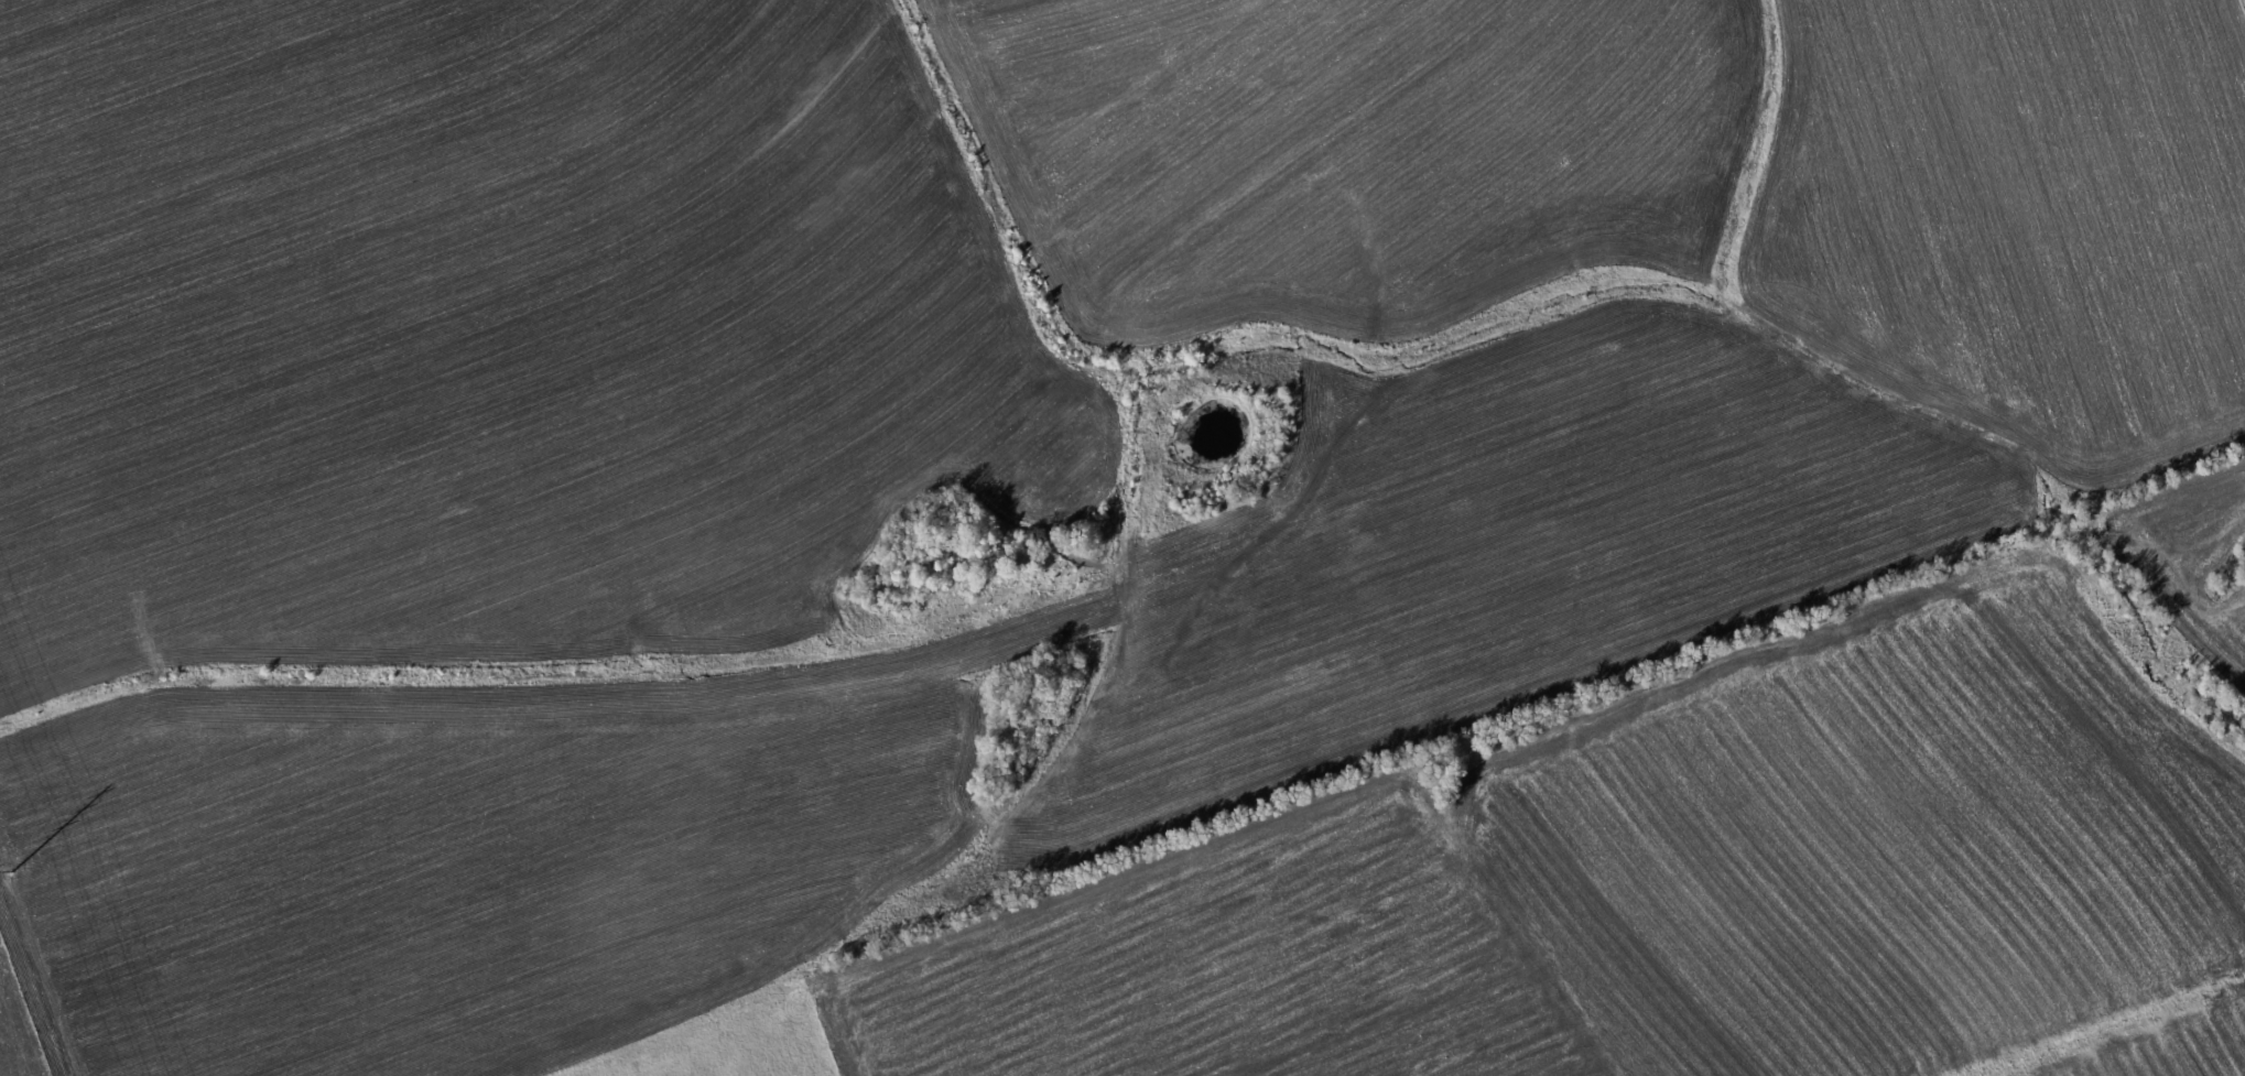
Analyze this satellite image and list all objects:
power tower: (11, 874)

